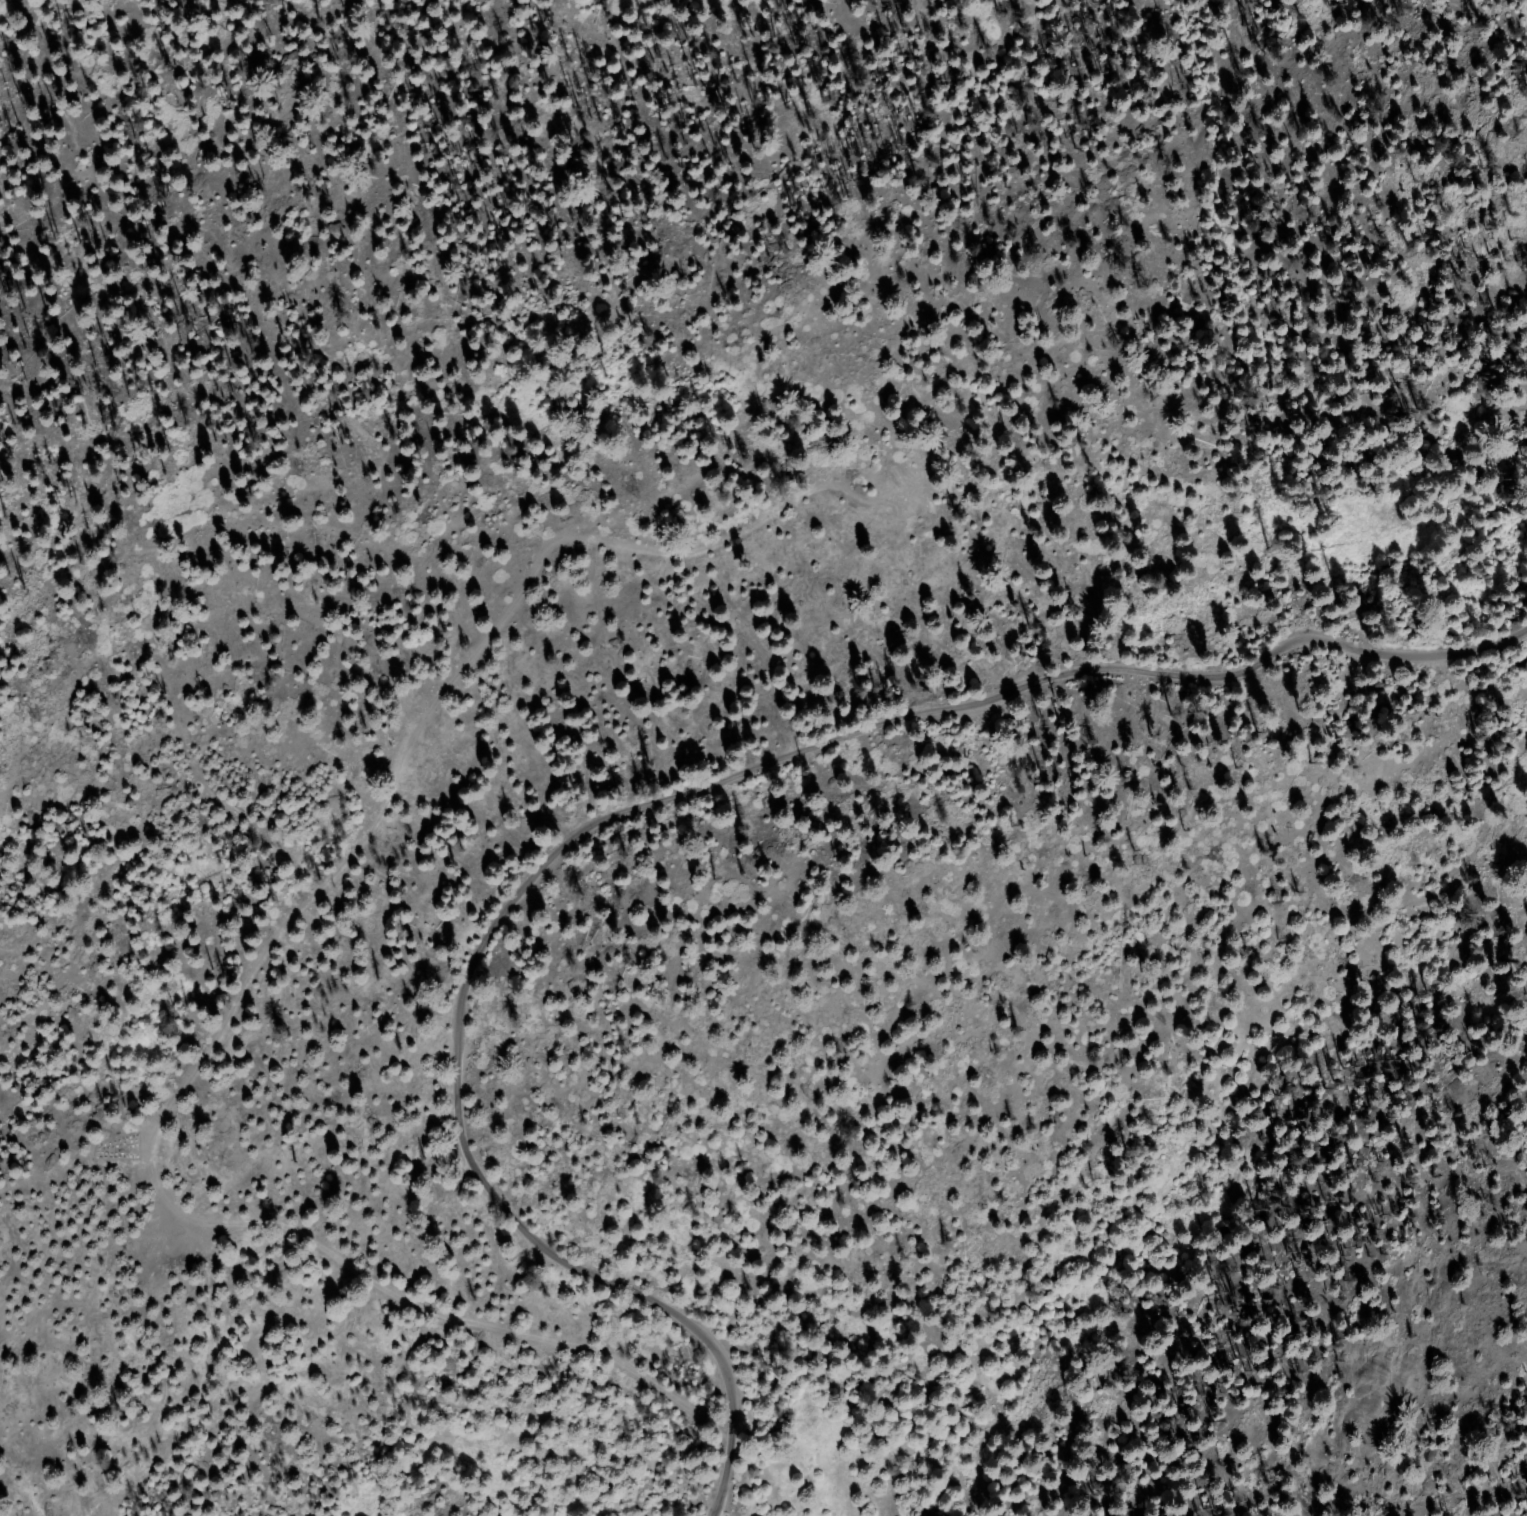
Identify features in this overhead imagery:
building: (315, 112)
road: (643, 806)

